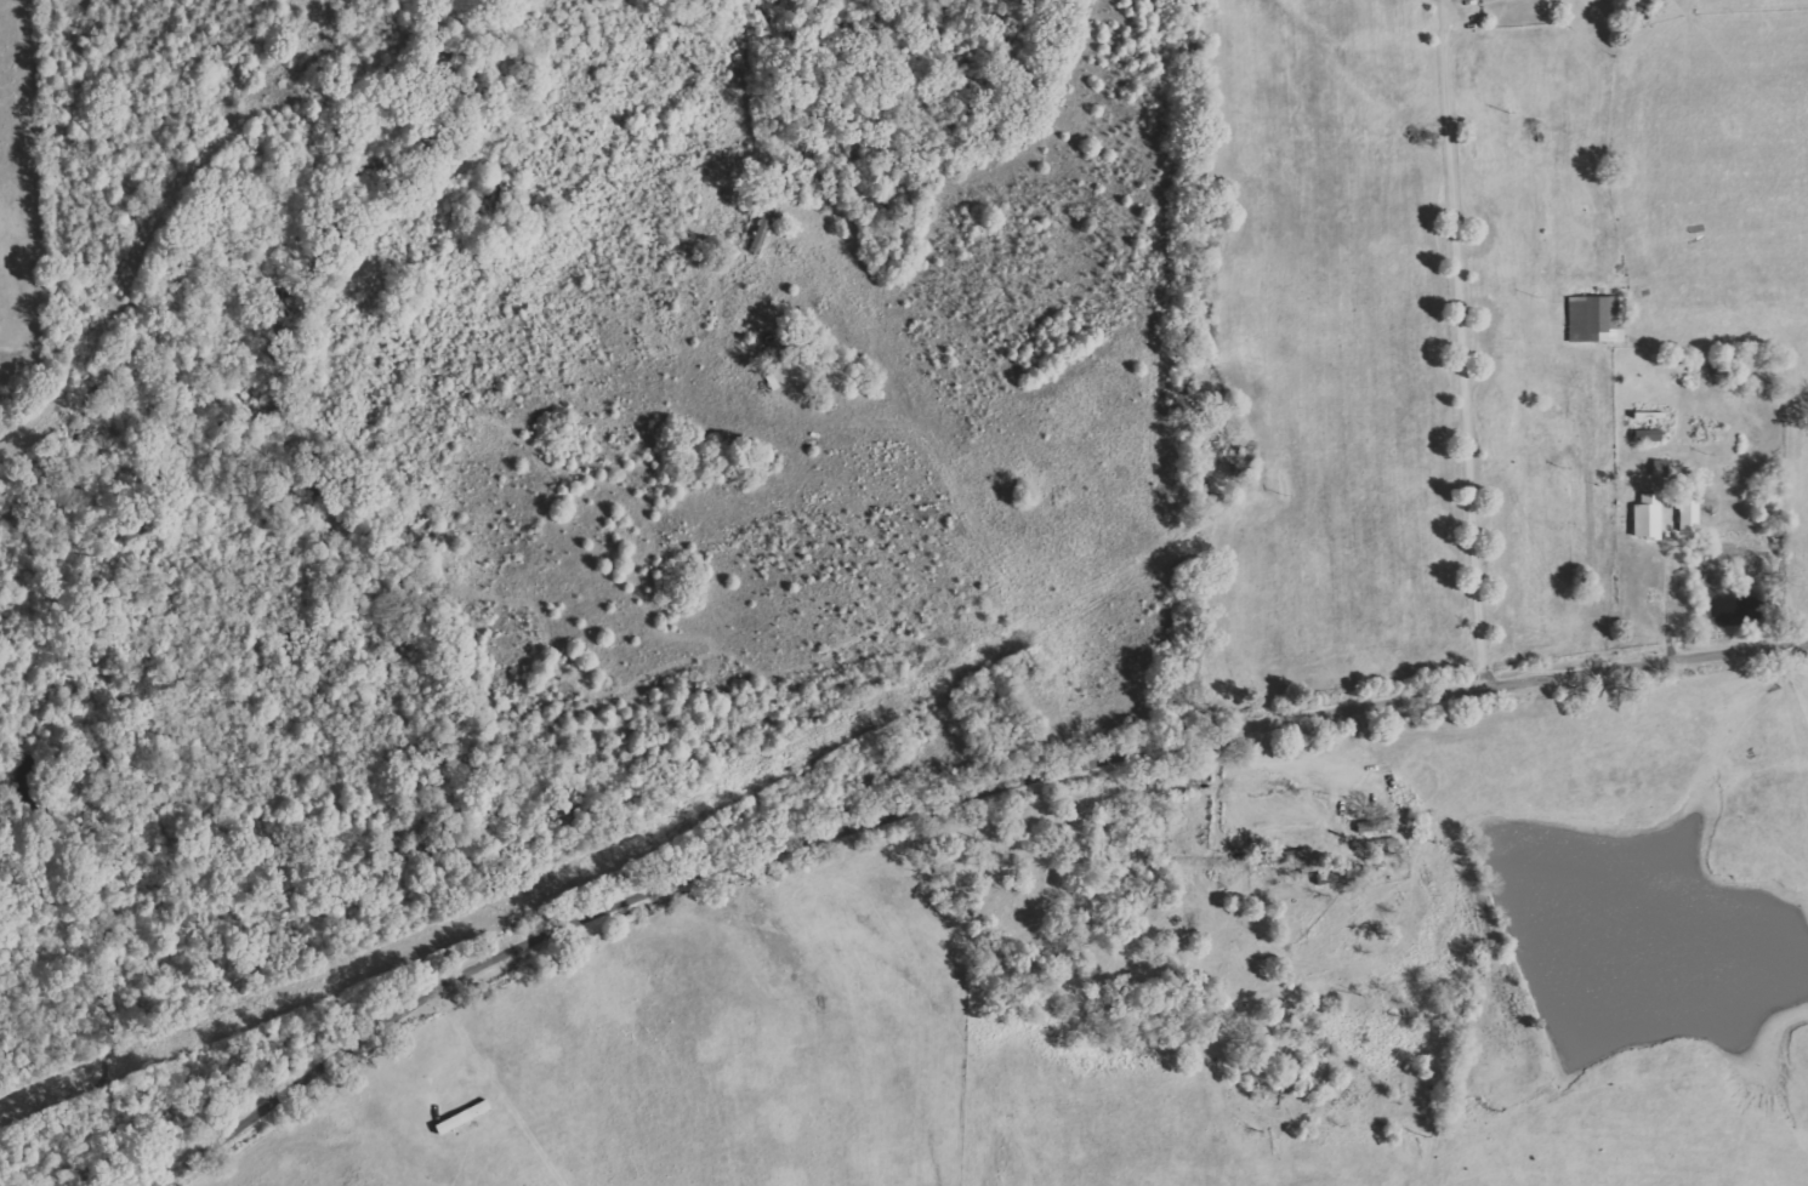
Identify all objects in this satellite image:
building: (1596, 319)
road: (1461, 342)
power tower: (1571, 467)
power tower: (1284, 494)
building: (1689, 515)
building: (1648, 517)
road: (1670, 599)
power tower: (1014, 640)
road: (942, 799)
building: (1283, 857)
power tower: (505, 910)
road: (528, 1088)

